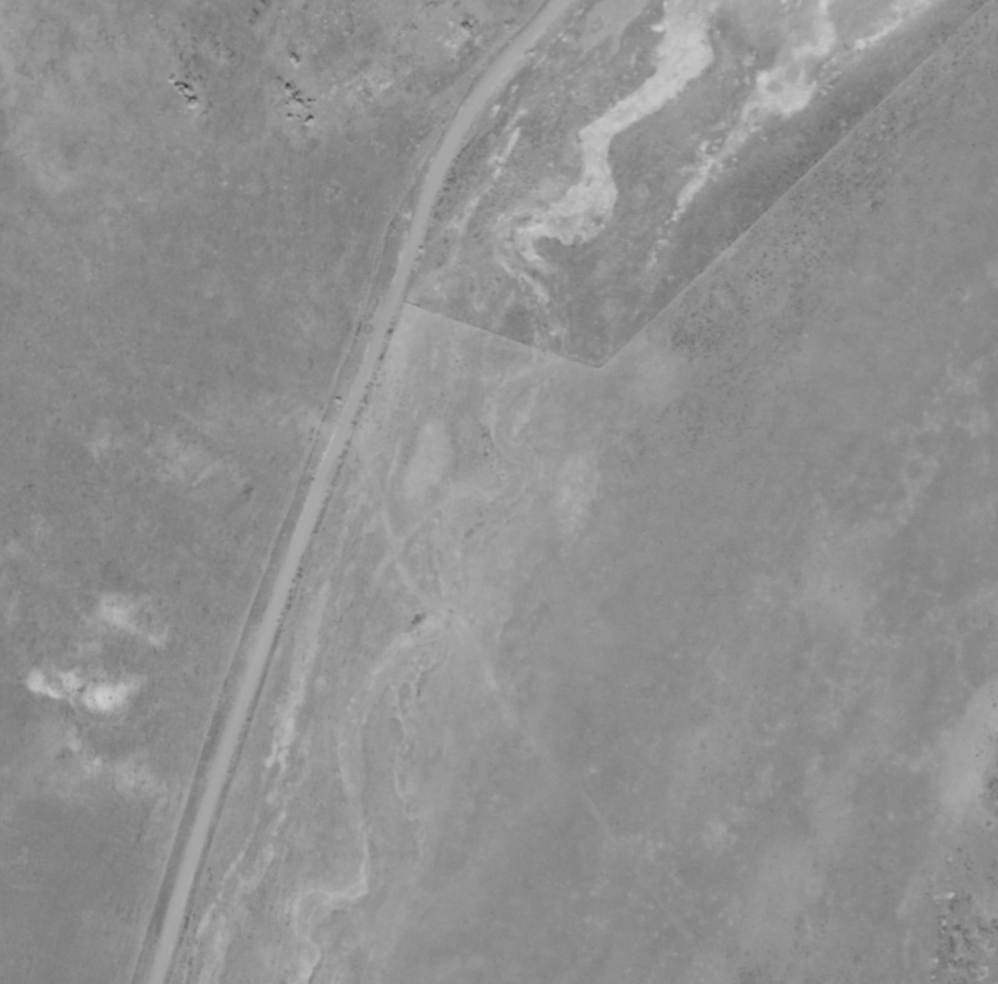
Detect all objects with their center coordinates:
road: (321, 476)

